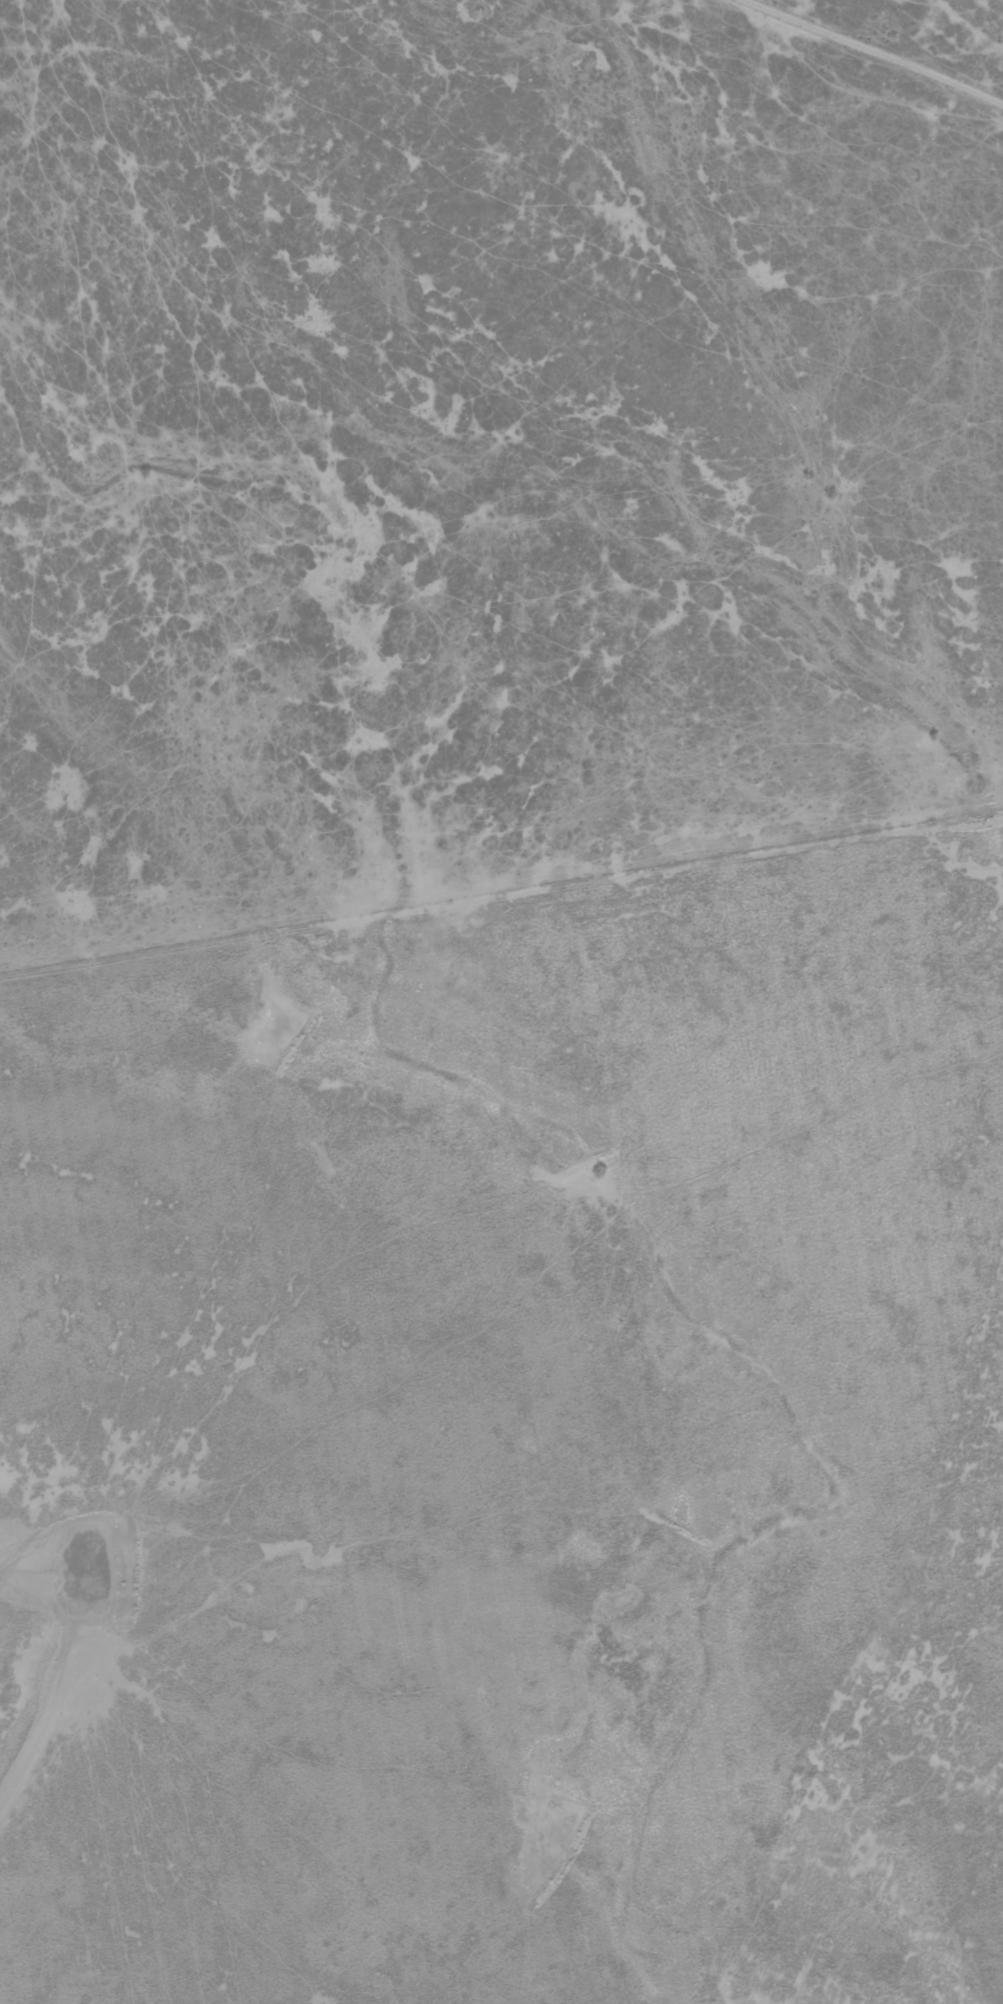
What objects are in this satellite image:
road: (877, 50)

